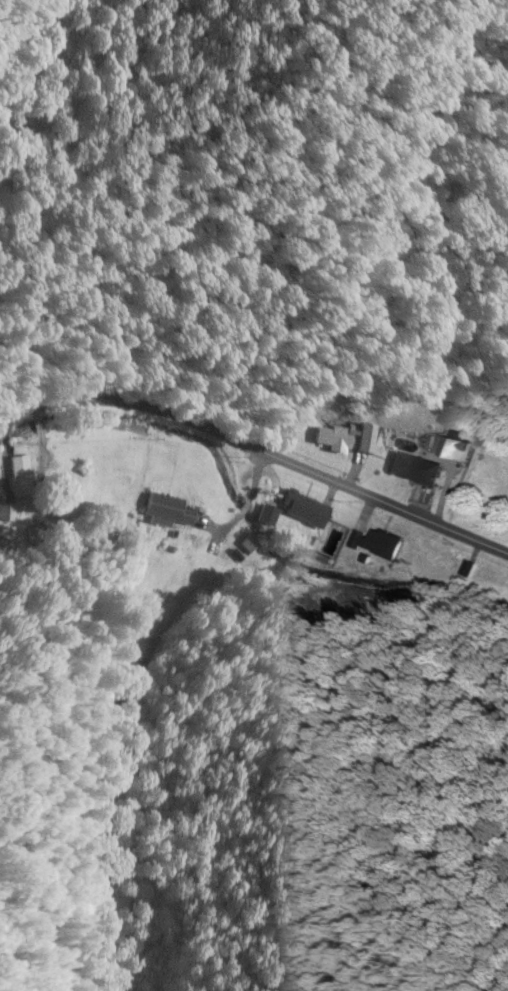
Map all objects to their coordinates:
building: (350, 439)
road: (257, 444)
building: (458, 448)
building: (420, 469)
building: (20, 471)
building: (307, 510)
building: (169, 514)
building: (269, 516)
building: (380, 545)

